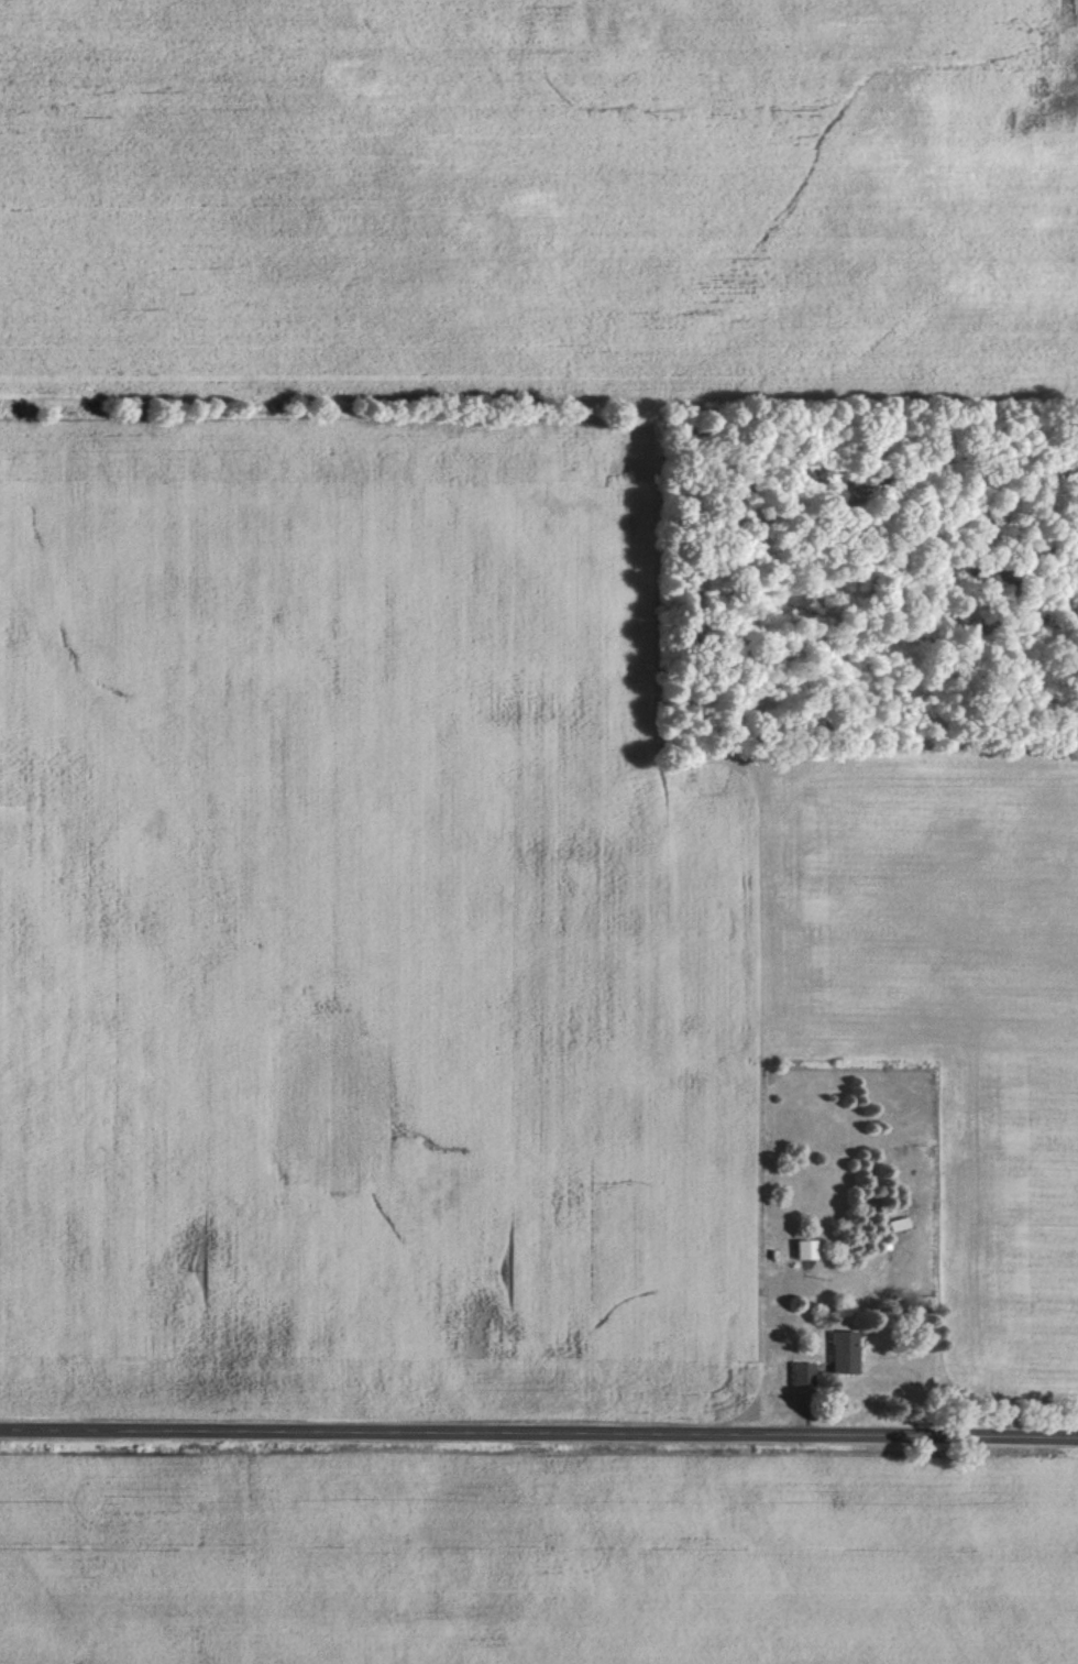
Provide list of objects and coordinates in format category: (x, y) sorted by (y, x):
building: (843, 1356)
building: (802, 1378)
road: (539, 1434)

